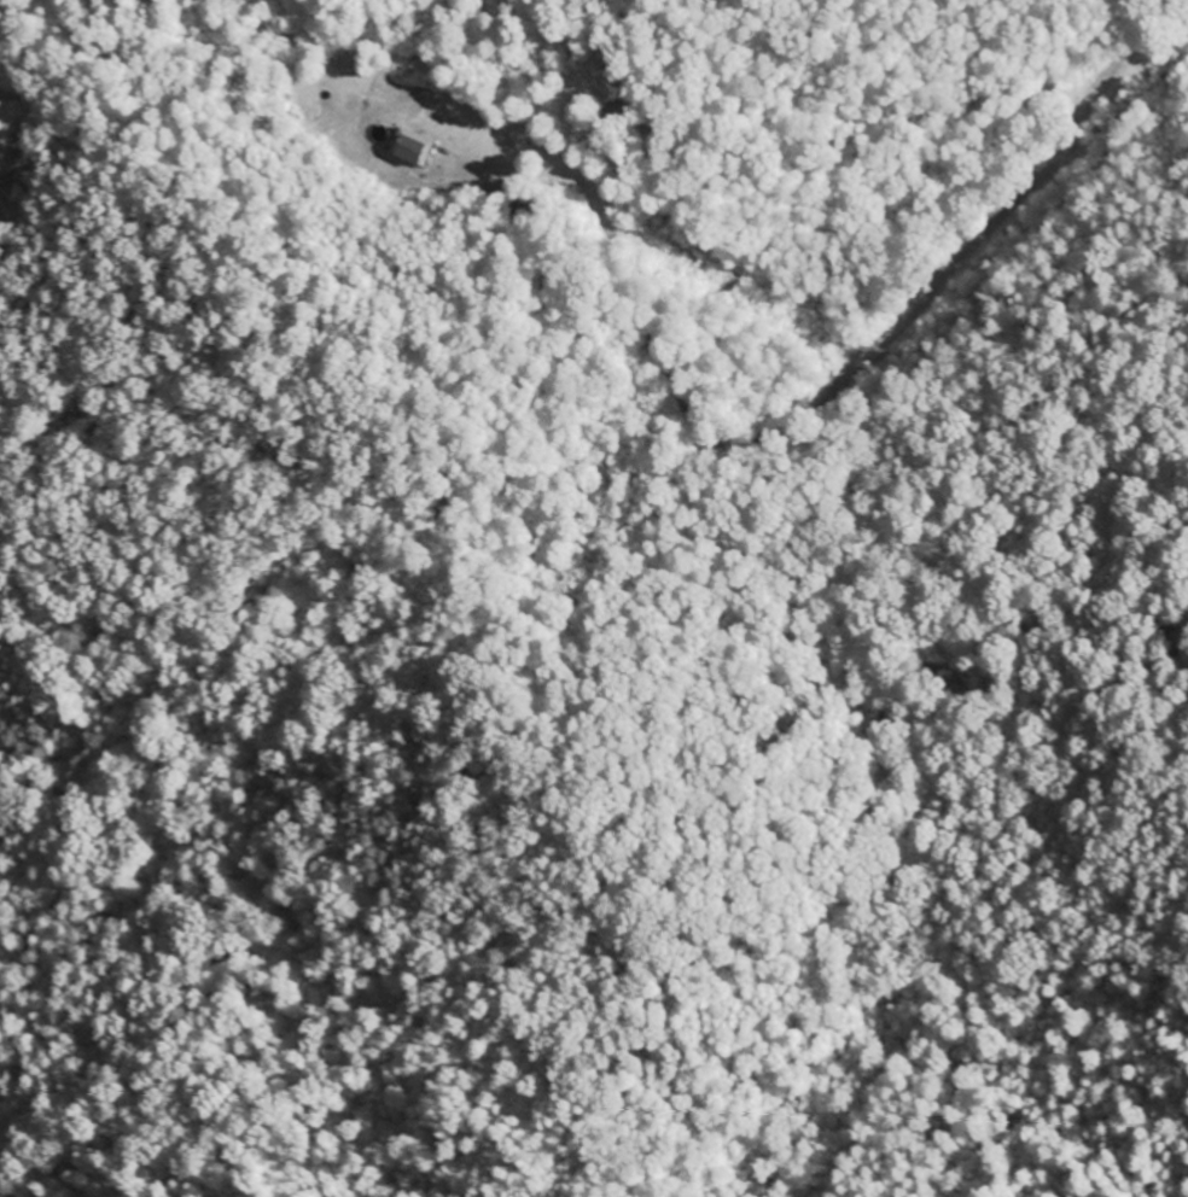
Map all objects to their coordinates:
building: (408, 148)

